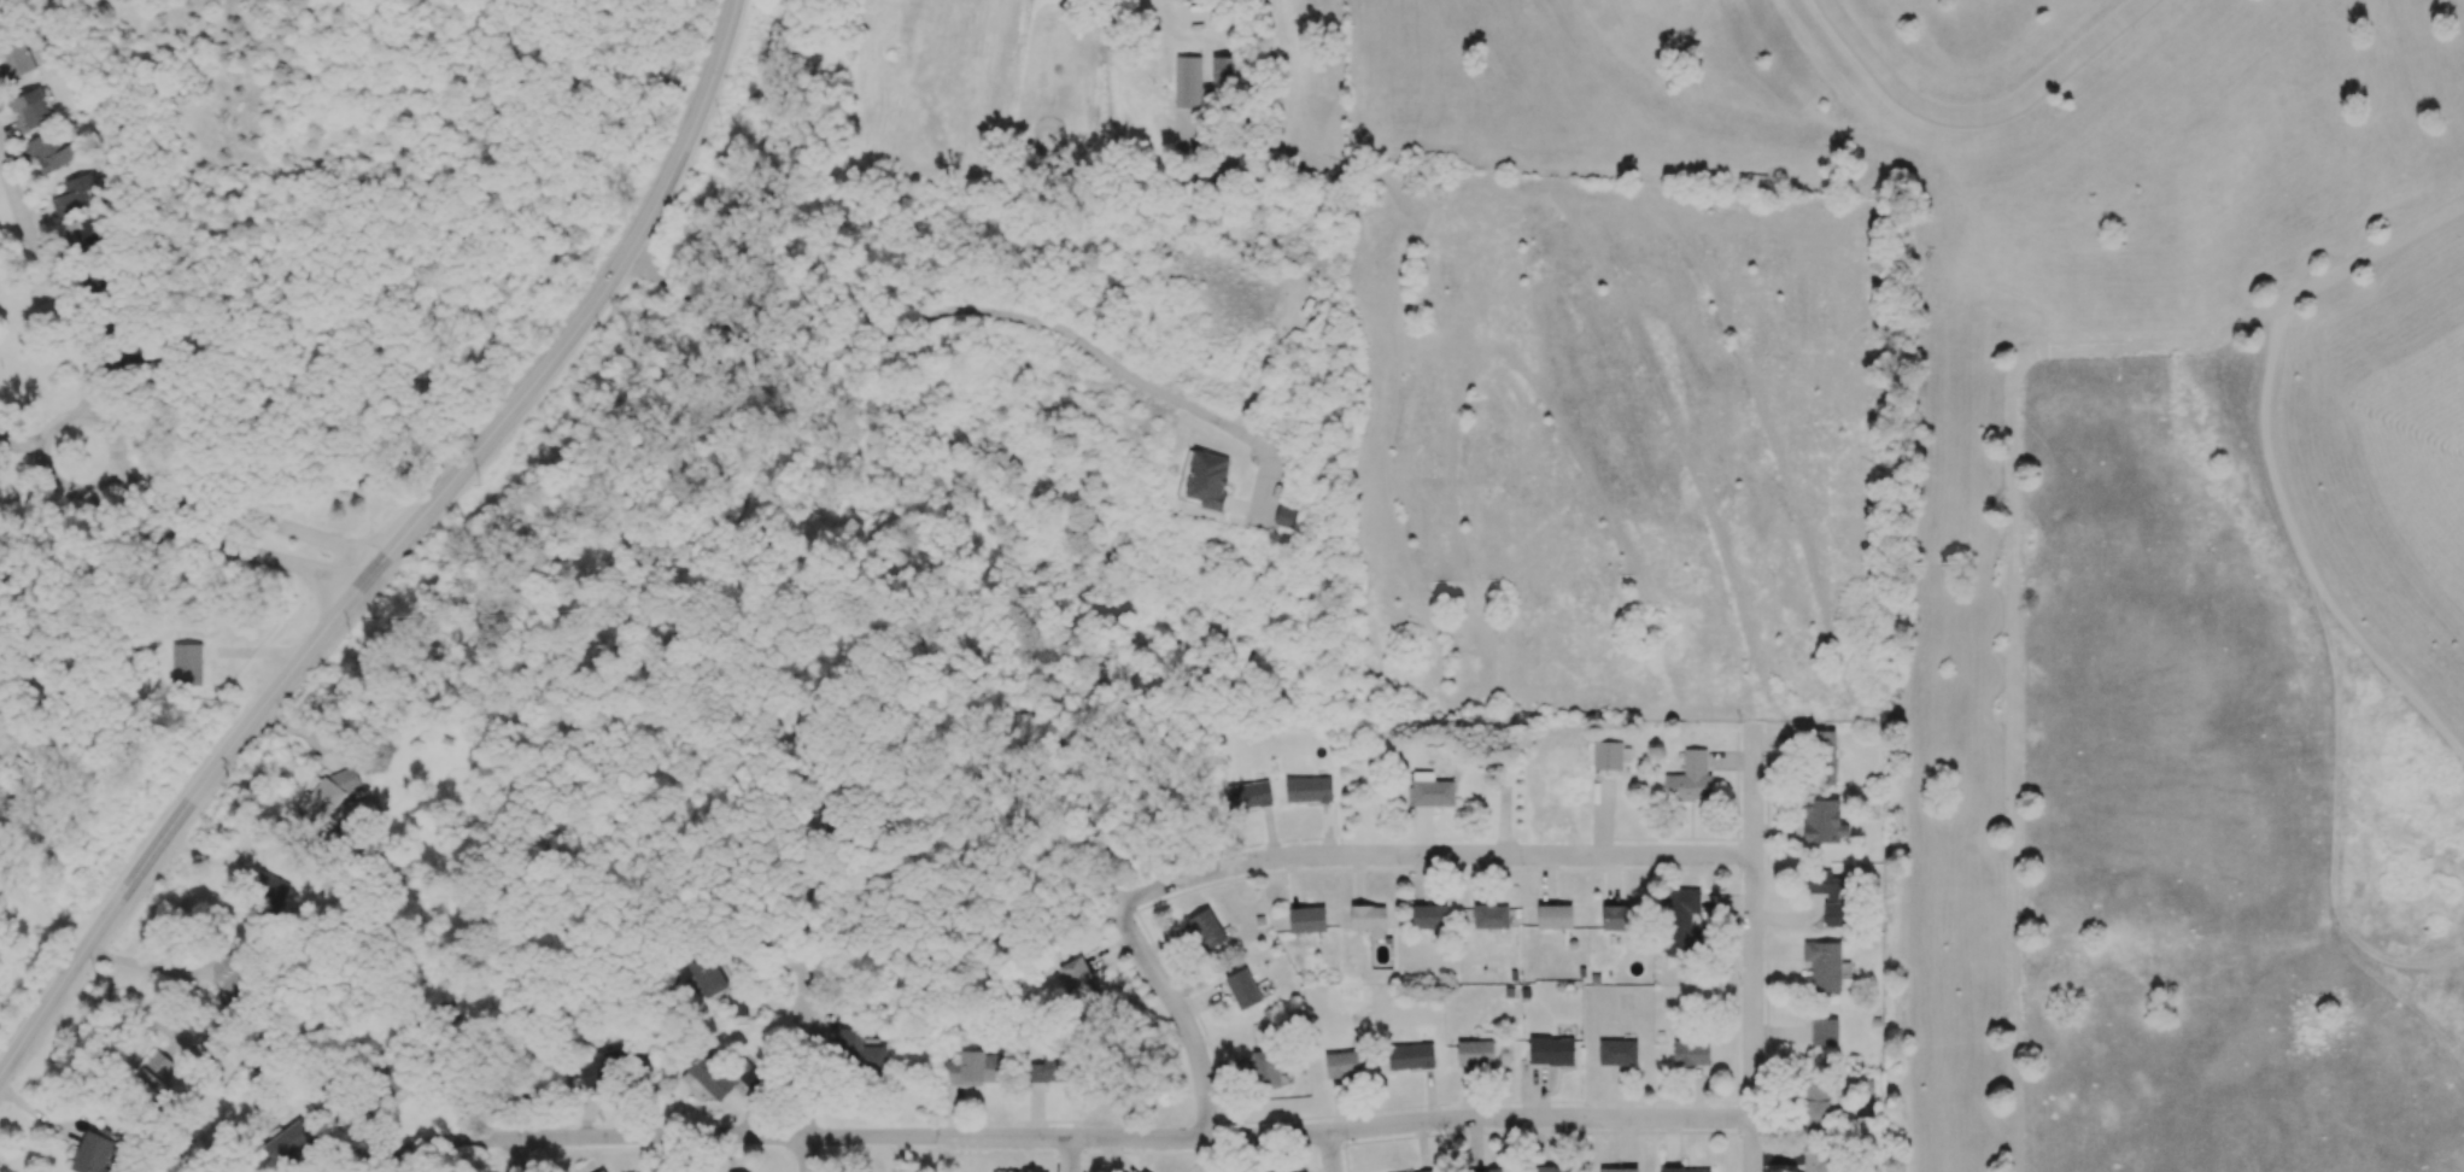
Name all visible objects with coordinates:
building: (1184, 13)
building: (14, 61)
building: (1223, 70)
building: (1187, 82)
building: (28, 110)
road: (1974, 113)
building: (51, 151)
building: (72, 195)
building: (82, 233)
road: (62, 300)
road: (956, 309)
building: (135, 358)
road: (40, 447)
building: (1207, 480)
road: (230, 503)
building: (1283, 516)
park: (2109, 521)
road: (2014, 525)
road: (205, 537)
road: (388, 547)
building: (185, 664)
building: (1608, 755)
building: (1825, 757)
building: (1690, 779)
building: (1307, 789)
building: (1430, 790)
building: (1247, 796)
building: (324, 799)
building: (1822, 821)
road: (1430, 854)
building: (270, 889)
building: (1830, 896)
road: (41, 910)
building: (1429, 916)
building: (1491, 916)
building: (1555, 916)
building: (1619, 918)
building: (1306, 919)
building: (1369, 919)
building: (1681, 921)
building: (1202, 930)
road: (1752, 949)
road: (1143, 956)
building: (1824, 965)
road: (147, 967)
building: (706, 974)
building: (232, 977)
building: (1078, 981)
building: (1242, 989)
road: (808, 991)
building: (737, 1006)
building: (1824, 1032)
building: (1550, 1050)
building: (1617, 1051)
building: (859, 1053)
building: (1475, 1053)
building: (1691, 1053)
building: (1410, 1056)
building: (1342, 1065)
building: (605, 1066)
building: (975, 1068)
building: (1266, 1068)
building: (1050, 1070)
building: (154, 1071)
building: (715, 1076)
building: (1865, 1102)
building: (1815, 1103)
road: (1059, 1137)
building: (287, 1142)
road: (1330, 1152)
road: (806, 1154)
road: (519, 1155)
road: (1069, 1155)
building: (1819, 1160)
building: (1551, 1170)
building: (1619, 1170)
building: (1684, 1170)
building: (602, 1171)
building: (1426, 1171)
building: (1485, 1171)

